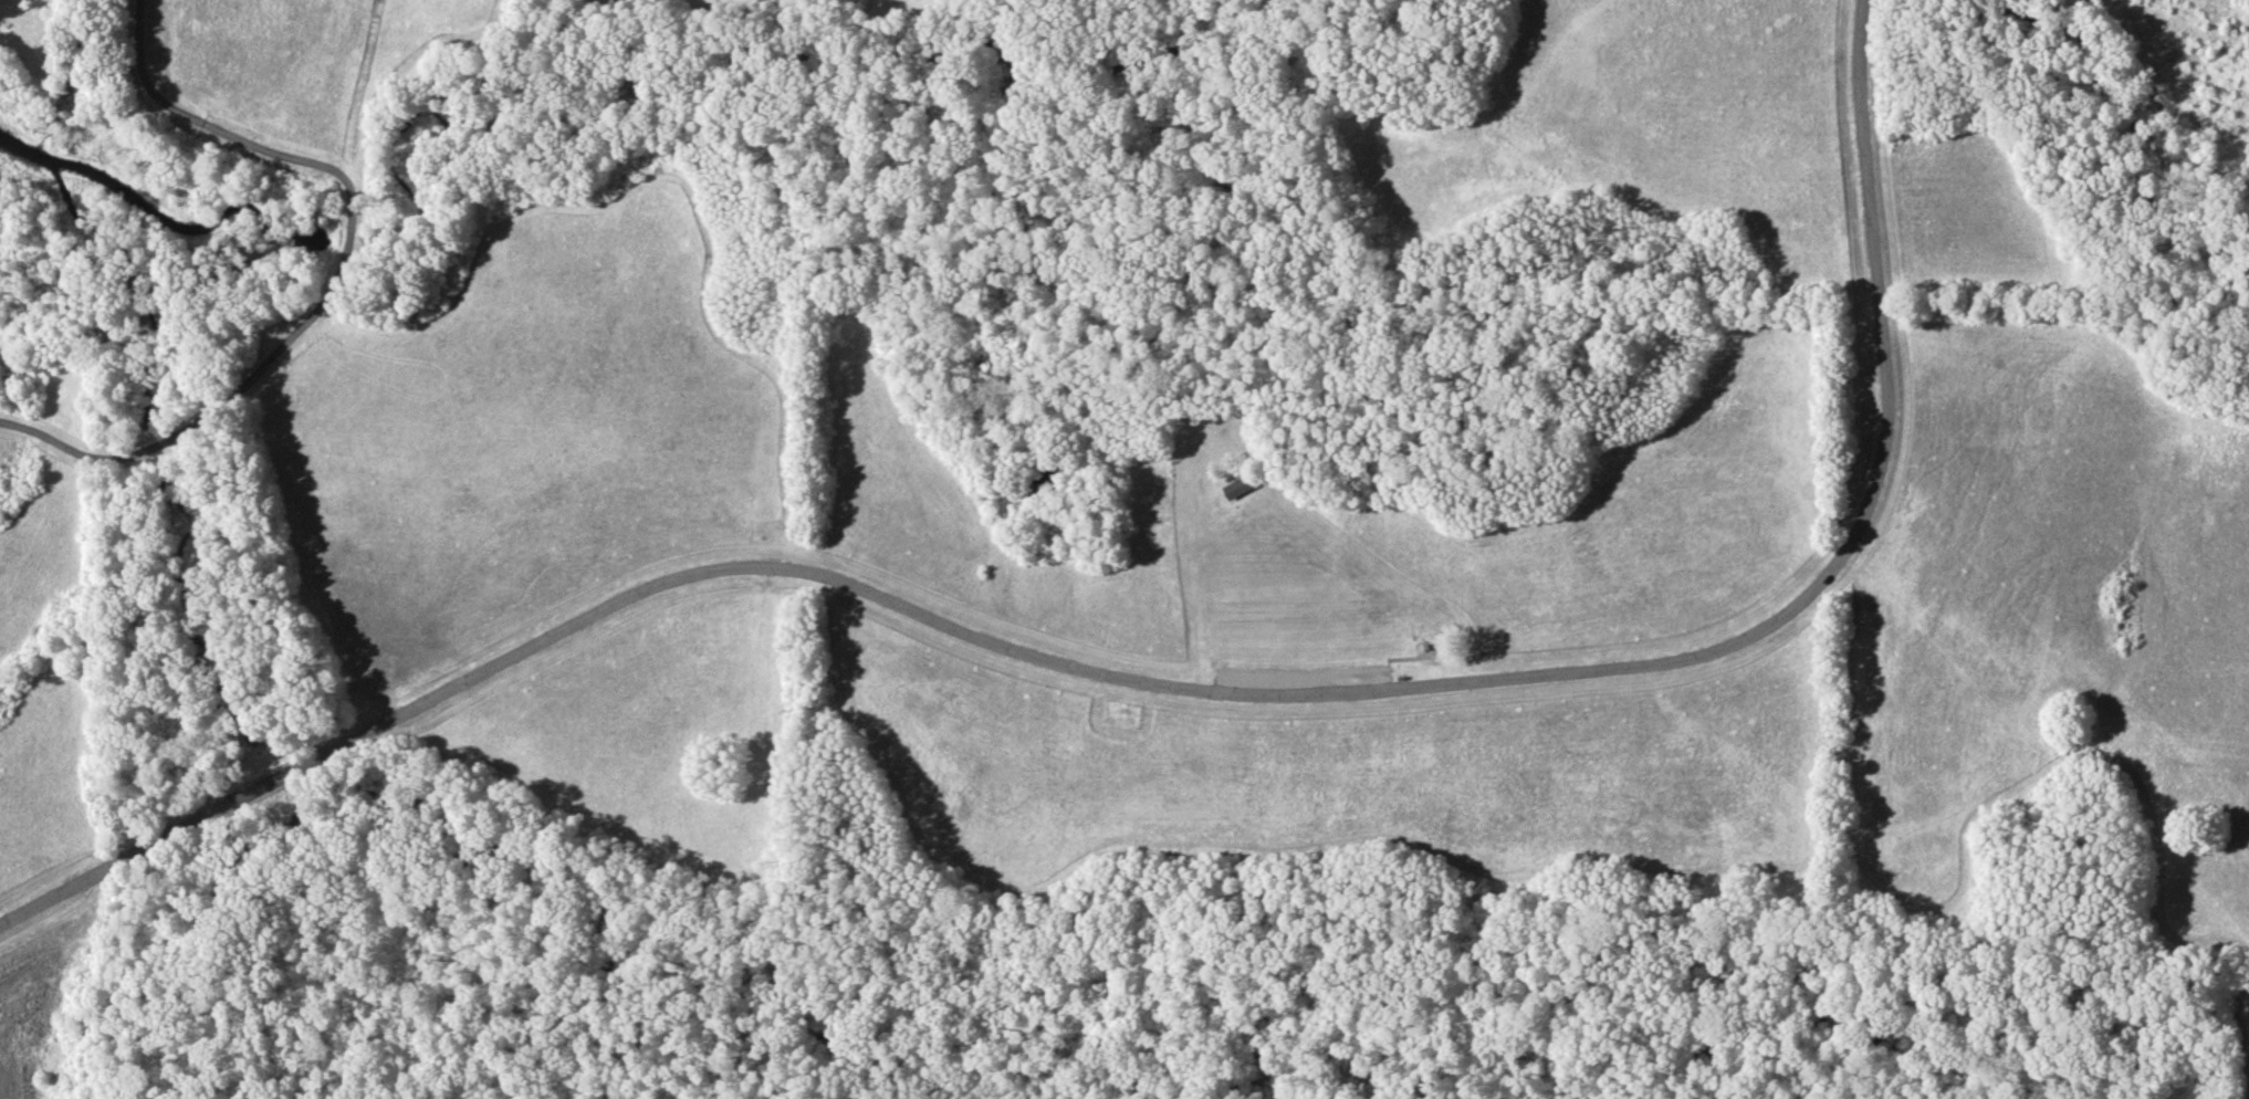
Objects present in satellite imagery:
crop: (1651, 122)
crop: (1965, 218)
road: (326, 276)
building: (1237, 486)
park: (1124, 549)
road: (1173, 693)

